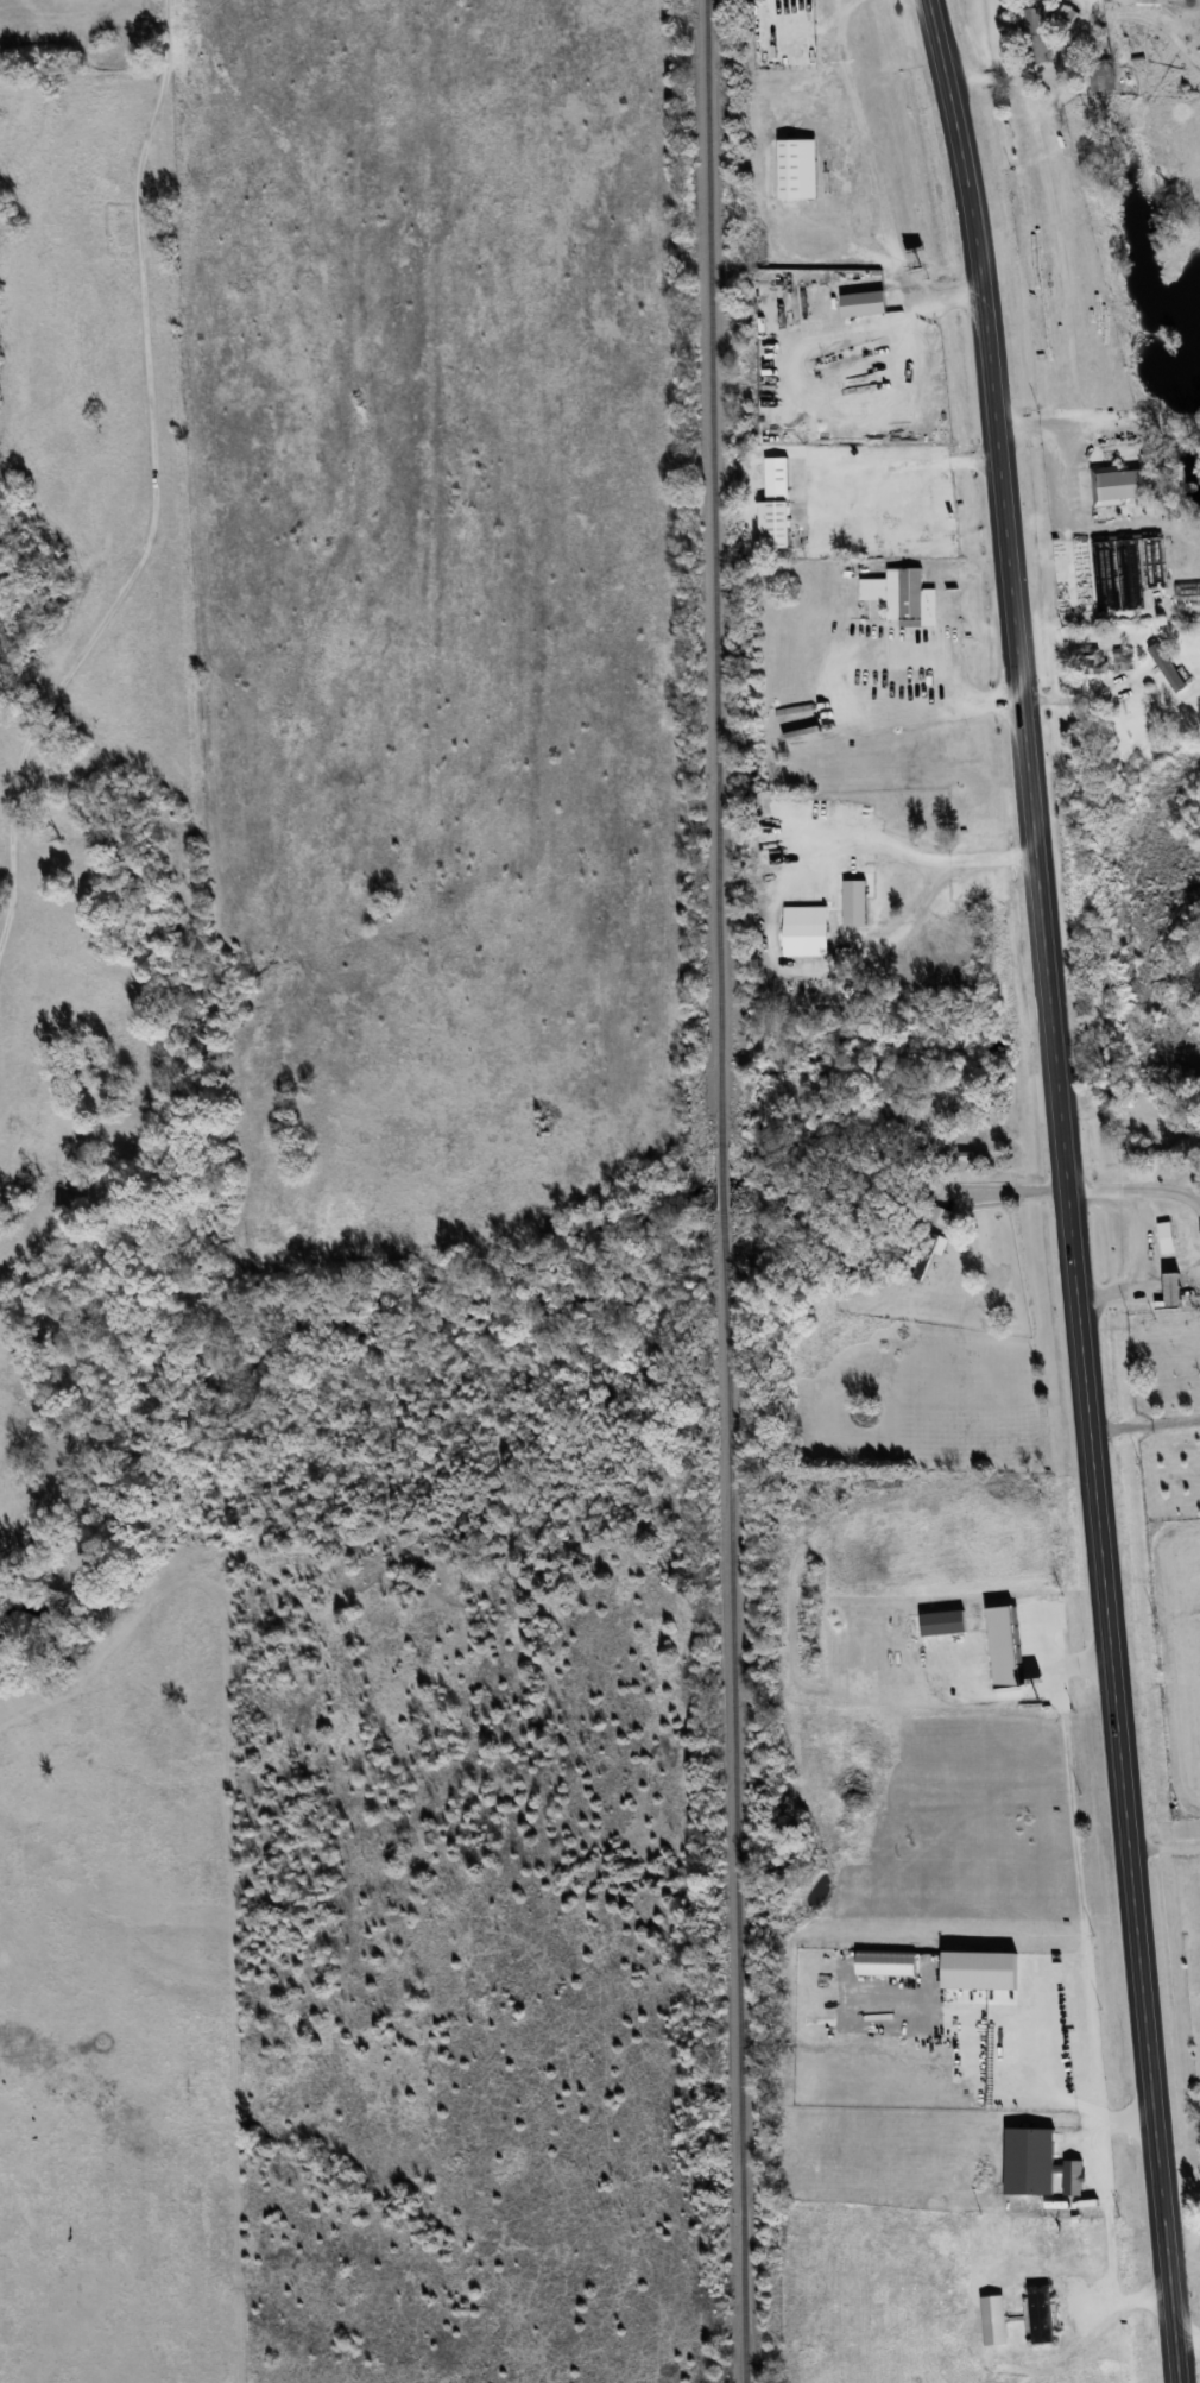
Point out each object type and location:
building: (1139, 1)
building: (1063, 17)
road: (1075, 27)
building: (1036, 34)
road: (836, 63)
building: (1107, 82)
building: (798, 170)
road: (1126, 412)
road: (1068, 477)
road: (157, 480)
building: (1117, 484)
building: (776, 504)
building: (897, 591)
building: (1130, 593)
building: (1122, 658)
building: (1161, 662)
parking lot: (889, 679)
road: (1078, 694)
road: (845, 701)
building: (801, 934)
road: (788, 965)
road: (1130, 1114)
road: (1067, 1189)
road: (1004, 1190)
railway: (725, 1191)
building: (1167, 1237)
building: (926, 1254)
building: (1175, 1291)
road: (1144, 1423)
road: (1087, 1658)
building: (1024, 1823)
road: (1164, 1846)
road: (1081, 1856)
road: (1049, 2093)
road: (1183, 2268)
building: (1042, 2315)
road: (1092, 2325)
road: (1188, 2337)

